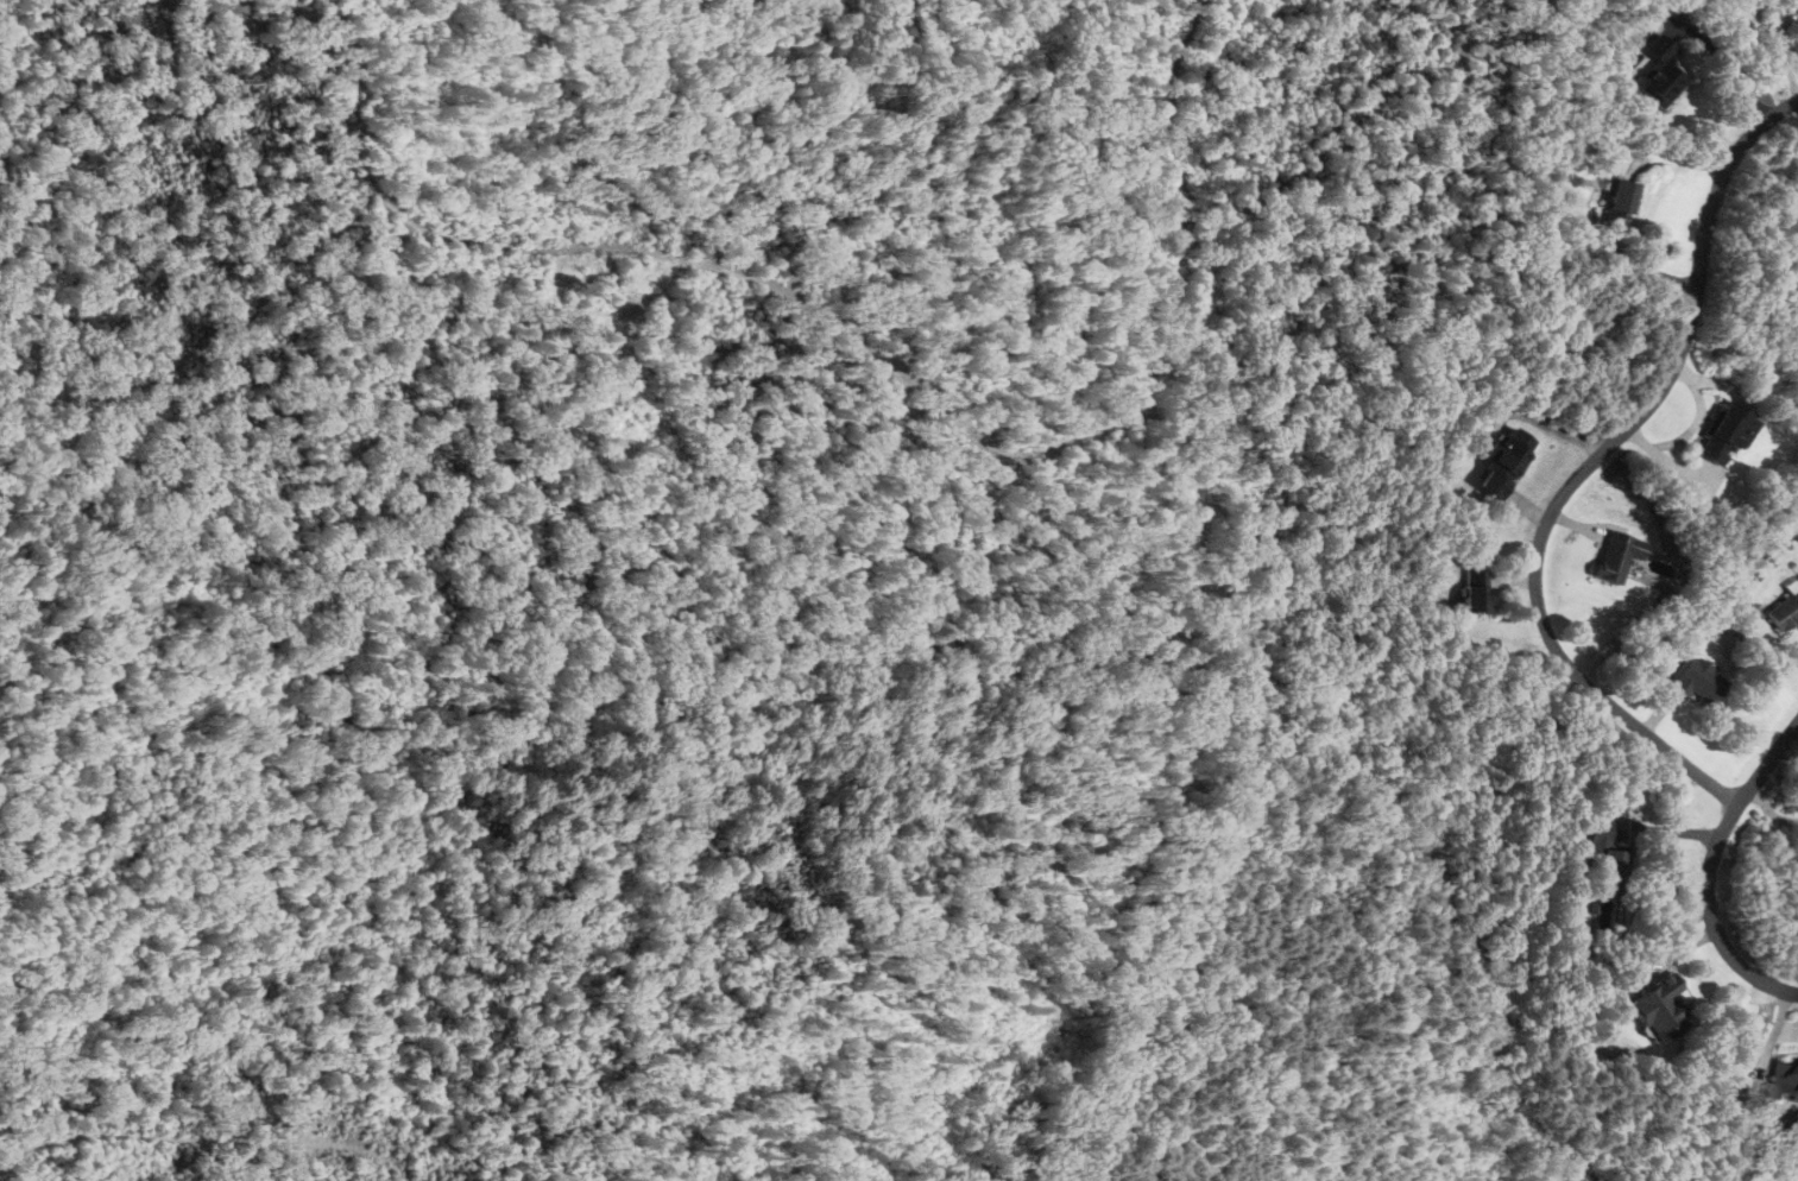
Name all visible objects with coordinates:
building: (1658, 78)
building: (1616, 206)
building: (1724, 434)
building: (1501, 463)
road: (1586, 470)
building: (1614, 557)
building: (1474, 595)
building: (1783, 612)
building: (1696, 680)
building: (1604, 851)
road: (1708, 870)
building: (1655, 1006)
building: (1785, 1075)

